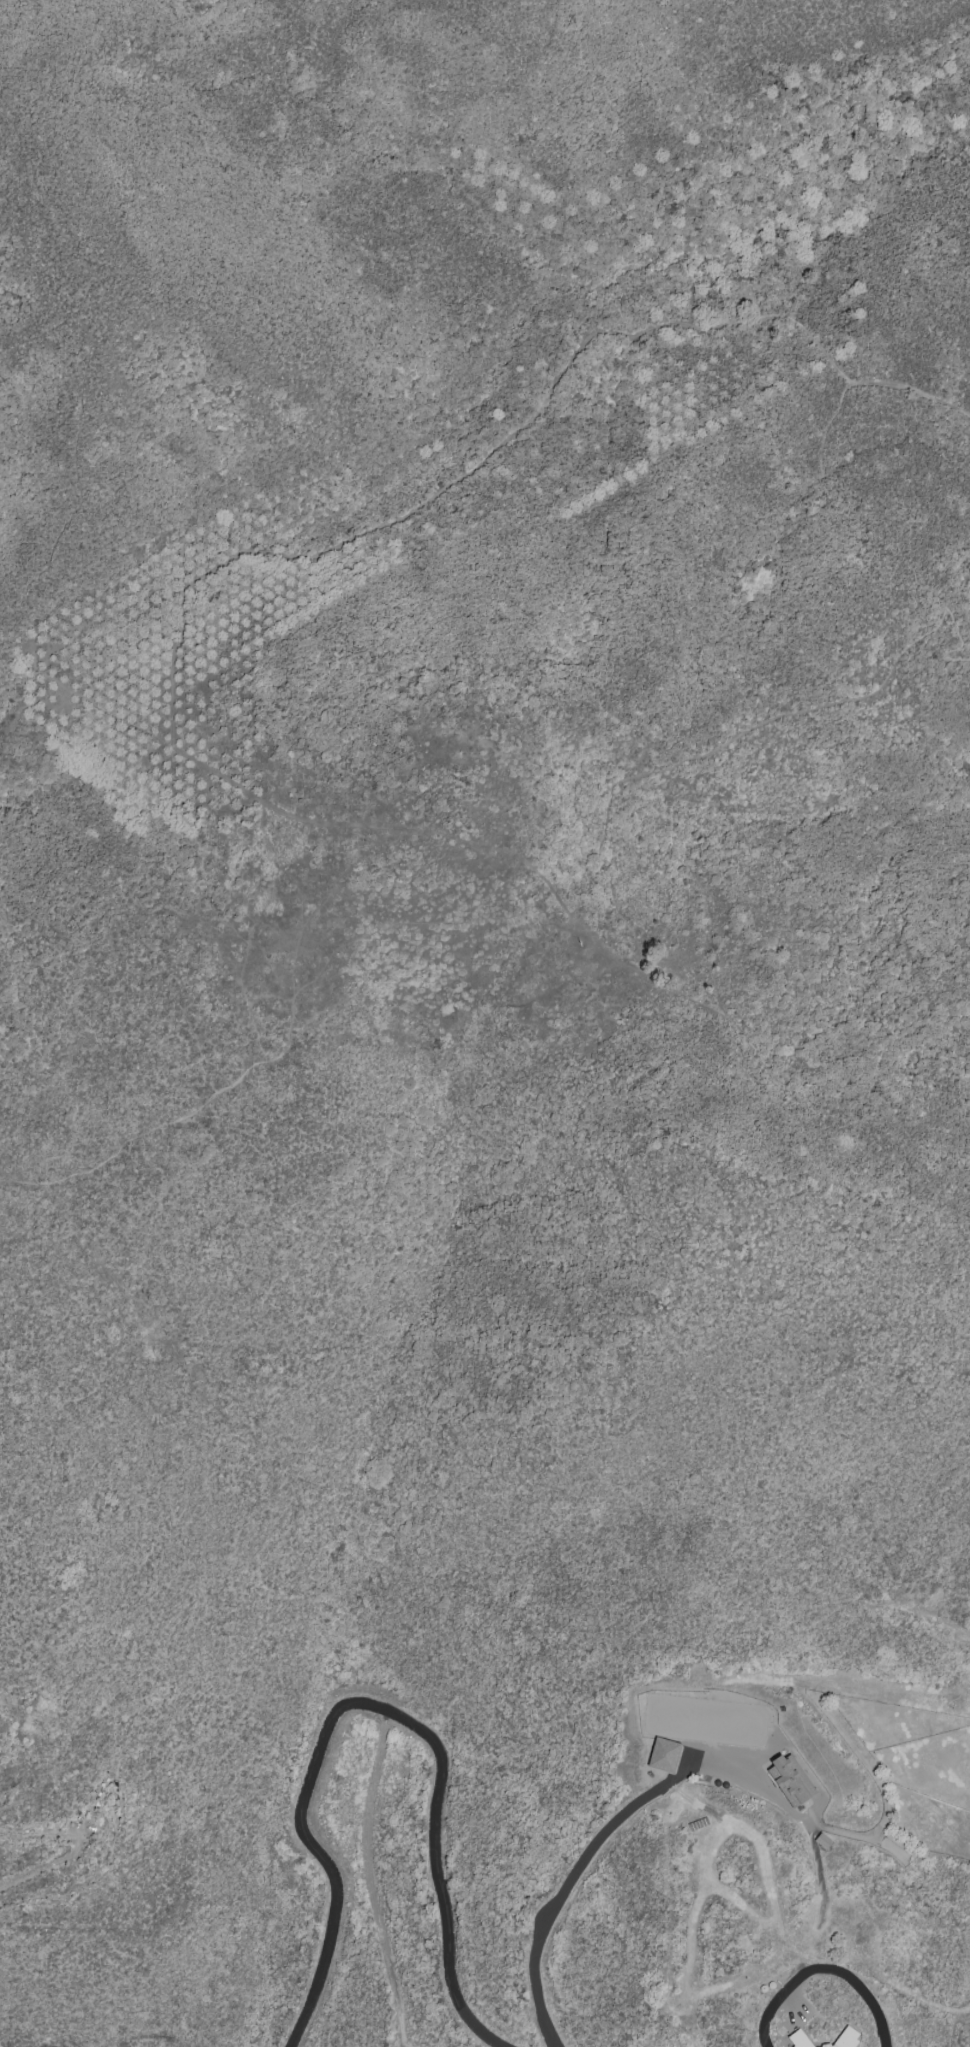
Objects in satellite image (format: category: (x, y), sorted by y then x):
road: (845, 484)
road: (337, 548)
road: (719, 750)
road: (445, 835)
road: (640, 961)
road: (376, 1710)
building: (663, 1755)
building: (790, 1780)
road: (577, 1867)
road: (860, 1988)
road: (778, 2007)
building: (798, 2039)
building: (845, 2039)

